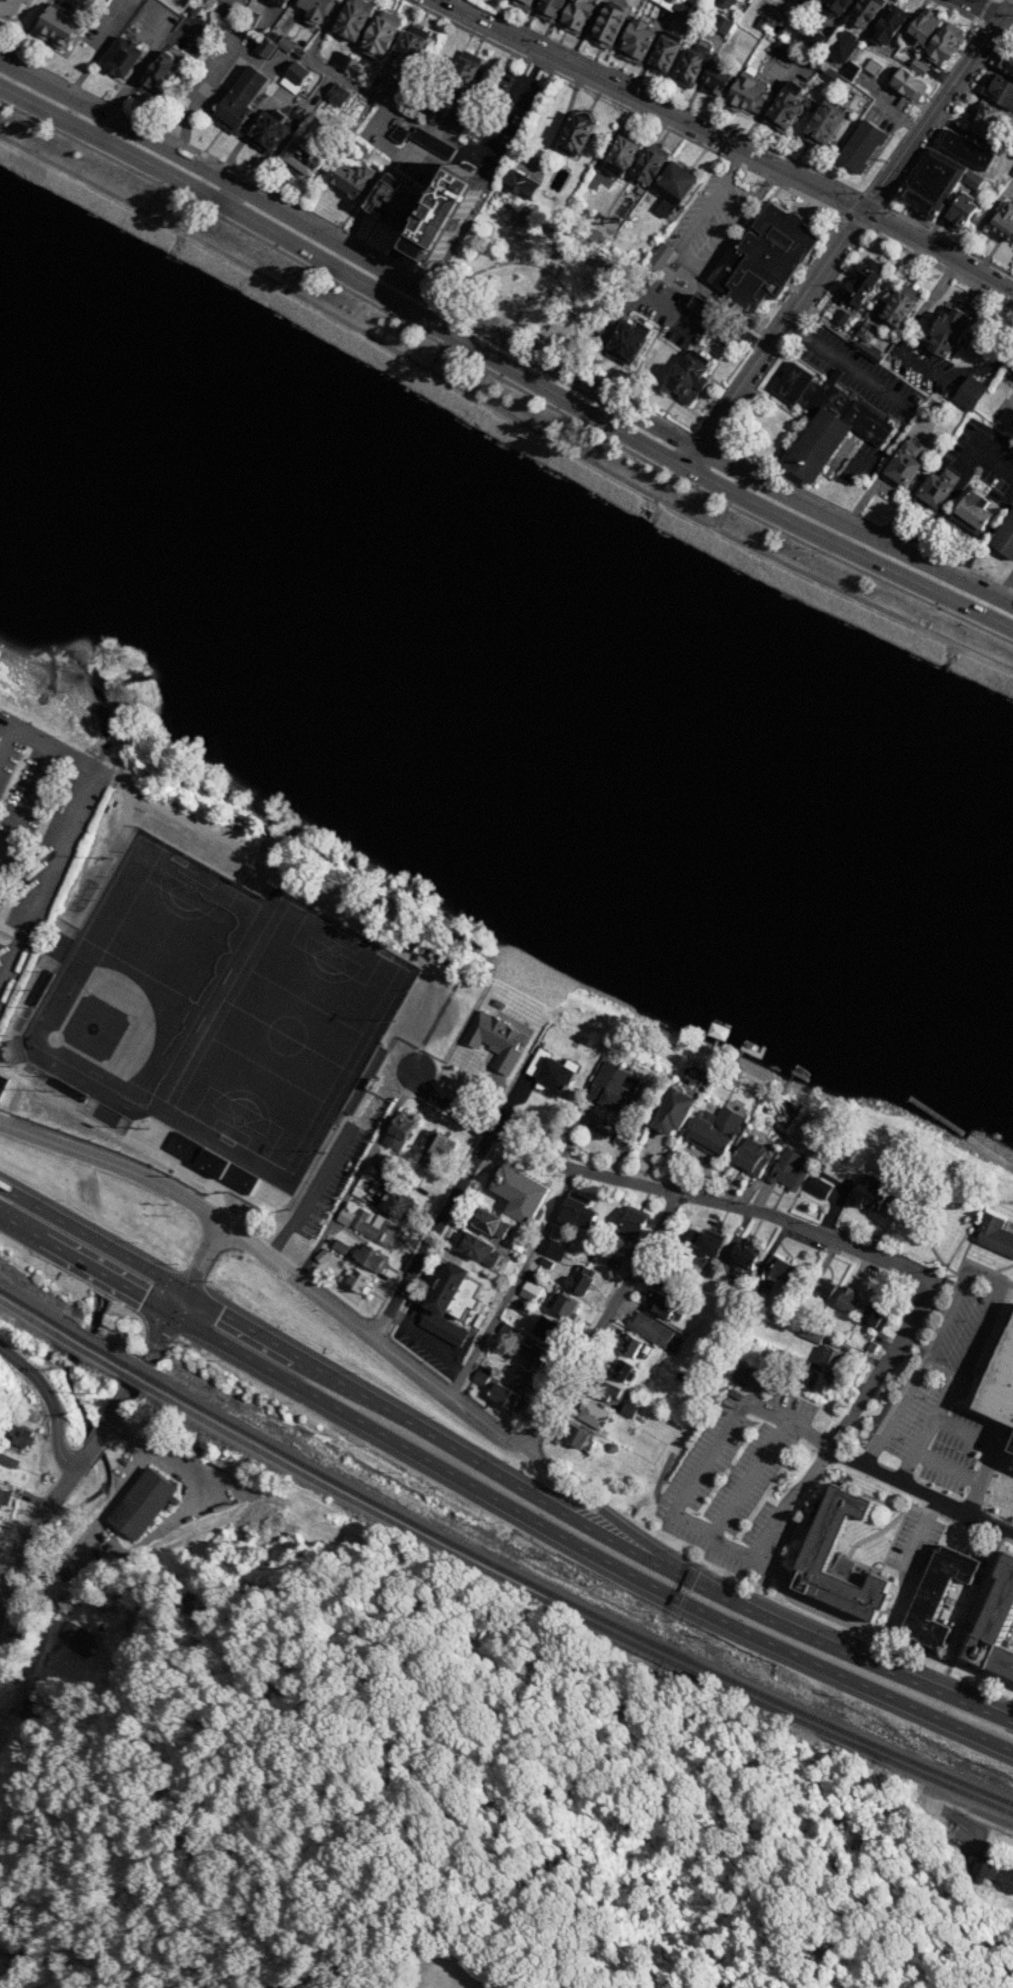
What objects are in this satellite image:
building: (23, 0)
building: (286, 0)
road: (999, 0)
building: (208, 2)
building: (276, 2)
building: (521, 3)
building: (667, 3)
building: (724, 3)
building: (805, 3)
building: (8, 6)
building: (683, 6)
building: (832, 7)
building: (194, 9)
building: (315, 10)
building: (548, 10)
road: (990, 11)
building: (863, 13)
building: (575, 14)
building: (248, 17)
building: (351, 19)
parking lot: (153, 23)
parking lot: (108, 24)
building: (722, 24)
building: (887, 24)
building: (607, 26)
building: (769, 26)
building: (54, 27)
building: (919, 28)
building: (379, 34)
parking lot: (189, 35)
building: (812, 35)
building: (636, 40)
building: (941, 41)
building: (285, 44)
building: (839, 47)
road: (99, 49)
building: (264, 49)
building: (409, 49)
building: (780, 49)
building: (665, 51)
building: (120, 57)
building: (339, 60)
building: (1006, 62)
building: (350, 67)
building: (873, 67)
building: (918, 67)
road: (139, 68)
building: (688, 68)
road: (142, 71)
building: (849, 71)
building: (157, 72)
road: (331, 73)
building: (829, 74)
building: (463, 76)
building: (294, 77)
building: (716, 77)
road: (210, 81)
building: (907, 84)
building: (388, 87)
road: (937, 87)
building: (997, 89)
building: (337, 95)
building: (745, 95)
road: (663, 97)
road: (942, 97)
road: (642, 98)
building: (239, 100)
road: (267, 101)
road: (507, 102)
building: (784, 107)
building: (432, 113)
building: (456, 120)
building: (989, 122)
building: (823, 124)
building: (267, 130)
building: (398, 133)
building: (574, 134)
building: (432, 141)
building: (860, 146)
building: (966, 150)
building: (621, 152)
building: (302, 156)
road: (223, 165)
building: (648, 165)
building: (1012, 172)
road: (903, 175)
building: (348, 179)
building: (556, 179)
building: (972, 180)
building: (674, 182)
building: (519, 184)
building: (930, 184)
road: (227, 196)
building: (395, 202)
road: (867, 202)
road: (853, 205)
road: (882, 205)
building: (665, 207)
building: (959, 212)
building: (444, 218)
road: (855, 218)
building: (1004, 222)
road: (824, 244)
road: (938, 249)
building: (659, 256)
building: (762, 258)
road: (691, 261)
road: (543, 267)
park: (536, 287)
building: (858, 287)
road: (526, 298)
building: (899, 306)
road: (724, 307)
building: (701, 308)
building: (841, 316)
building: (947, 333)
building: (626, 341)
road: (503, 342)
road: (762, 345)
road: (909, 357)
road: (502, 365)
building: (1009, 375)
building: (687, 377)
road: (502, 380)
road: (882, 389)
building: (969, 393)
road: (740, 402)
road: (502, 414)
building: (1005, 419)
building: (824, 421)
road: (704, 439)
building: (903, 464)
building: (937, 488)
building: (972, 513)
building: (1004, 537)
road: (1005, 589)
river: (506, 644)
road: (24, 804)
road: (124, 808)
road: (68, 823)
parking lot: (37, 832)
road: (216, 836)
park: (170, 920)
road: (8, 937)
road: (10, 1022)
park: (112, 1022)
park: (286, 1035)
building: (497, 1040)
pier: (715, 1042)
pier: (748, 1051)
road: (4, 1064)
building: (550, 1073)
pier: (791, 1073)
building: (2, 1083)
road: (6, 1093)
building: (614, 1094)
building: (671, 1110)
road: (440, 1113)
road: (933, 1117)
building: (399, 1130)
building: (714, 1130)
road: (119, 1136)
building: (624, 1138)
road: (971, 1142)
building: (438, 1144)
building: (749, 1157)
road: (997, 1158)
road: (312, 1159)
building: (214, 1163)
building: (383, 1164)
building: (788, 1169)
road: (357, 1175)
parking lot: (323, 1184)
building: (408, 1184)
building: (818, 1188)
road: (659, 1189)
building: (517, 1193)
building: (872, 1194)
park: (1000, 1194)
building: (396, 1204)
building: (575, 1212)
building: (488, 1222)
building: (631, 1224)
road: (1009, 1224)
building: (369, 1226)
road: (432, 1233)
building: (994, 1234)
building: (702, 1244)
building: (339, 1247)
building: (476, 1249)
building: (552, 1249)
building: (743, 1256)
road: (282, 1257)
building: (322, 1257)
building: (369, 1257)
building: (612, 1262)
building: (546, 1263)
road: (1003, 1268)
building: (710, 1269)
building: (779, 1269)
road: (984, 1275)
road: (944, 1276)
building: (580, 1279)
building: (356, 1280)
road: (513, 1284)
road: (414, 1285)
building: (824, 1287)
road: (1003, 1290)
traffic signals: (183, 1291)
building: (451, 1291)
building: (529, 1291)
road: (1010, 1292)
building: (679, 1295)
building: (753, 1299)
building: (846, 1299)
building: (657, 1302)
building: (564, 1306)
building: (522, 1308)
road: (196, 1311)
traffic signals: (170, 1315)
building: (874, 1316)
road: (350, 1317)
road: (602, 1321)
railway: (63, 1327)
building: (444, 1328)
building: (821, 1329)
building: (548, 1330)
building: (652, 1330)
building: (508, 1331)
building: (810, 1335)
railway: (61, 1336)
road: (429, 1338)
building: (628, 1345)
building: (871, 1347)
building: (533, 1353)
building: (831, 1357)
road: (989, 1357)
building: (800, 1362)
road: (153, 1364)
road: (881, 1364)
building: (621, 1370)
railway: (139, 1372)
building: (742, 1372)
parking lot: (938, 1373)
building: (481, 1374)
building: (522, 1375)
railway: (135, 1380)
building: (817, 1381)
building: (1000, 1385)
building: (604, 1388)
building: (505, 1396)
road: (49, 1402)
building: (628, 1409)
building: (591, 1415)
road: (111, 1416)
road: (935, 1421)
road: (534, 1433)
building: (21, 1437)
building: (576, 1437)
building: (1012, 1449)
road: (919, 1453)
road: (991, 1454)
road: (1007, 1458)
building: (9, 1460)
road: (951, 1468)
road: (499, 1469)
road: (745, 1477)
parking lot: (735, 1483)
road: (920, 1492)
road: (983, 1496)
building: (4, 1498)
road: (497, 1501)
building: (143, 1503)
road: (167, 1525)
parking lot: (914, 1539)
road: (734, 1550)
building: (839, 1561)
building: (939, 1594)
road: (758, 1595)
railway: (572, 1612)
building: (16, 1622)
railway: (569, 1622)
building: (996, 1626)
road: (880, 1633)
building: (77, 1637)
road: (967, 1806)
building: (982, 1868)

